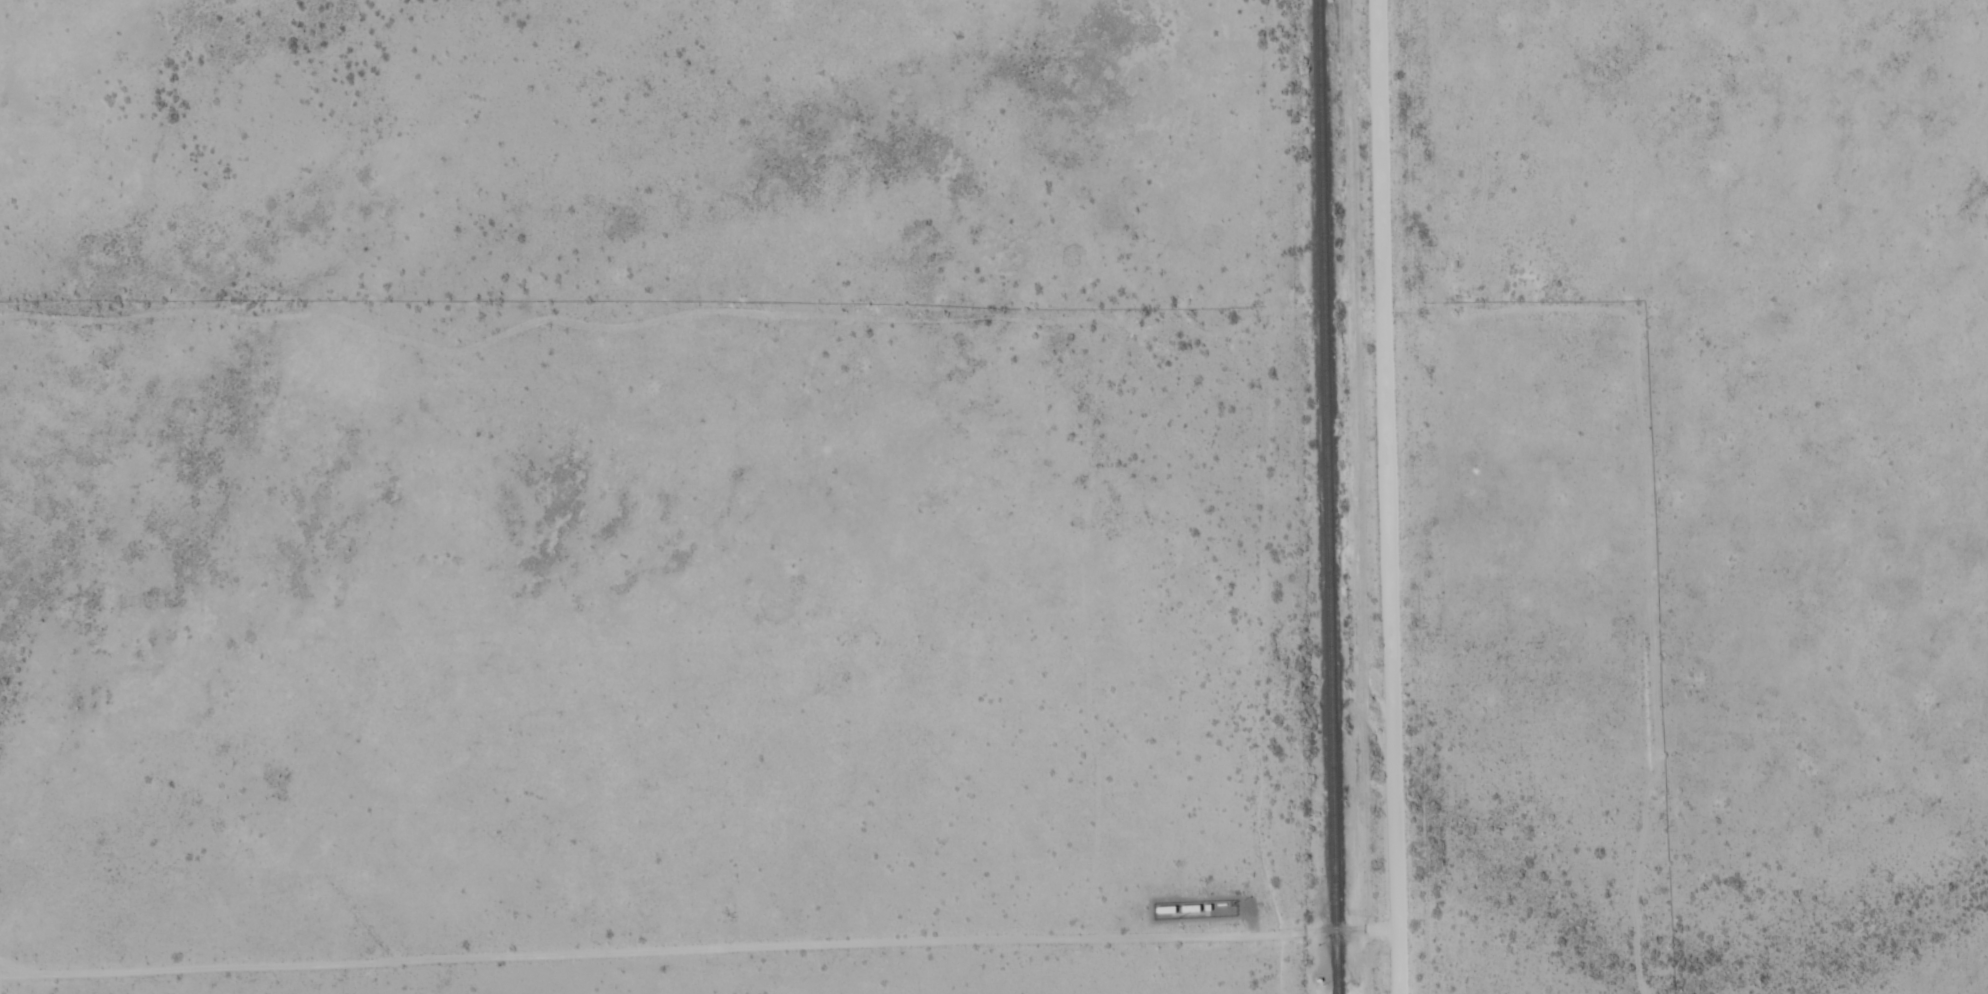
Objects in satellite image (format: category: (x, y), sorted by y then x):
road: (1200, 469)
railway: (1327, 496)
road: (1388, 497)
road: (698, 942)

